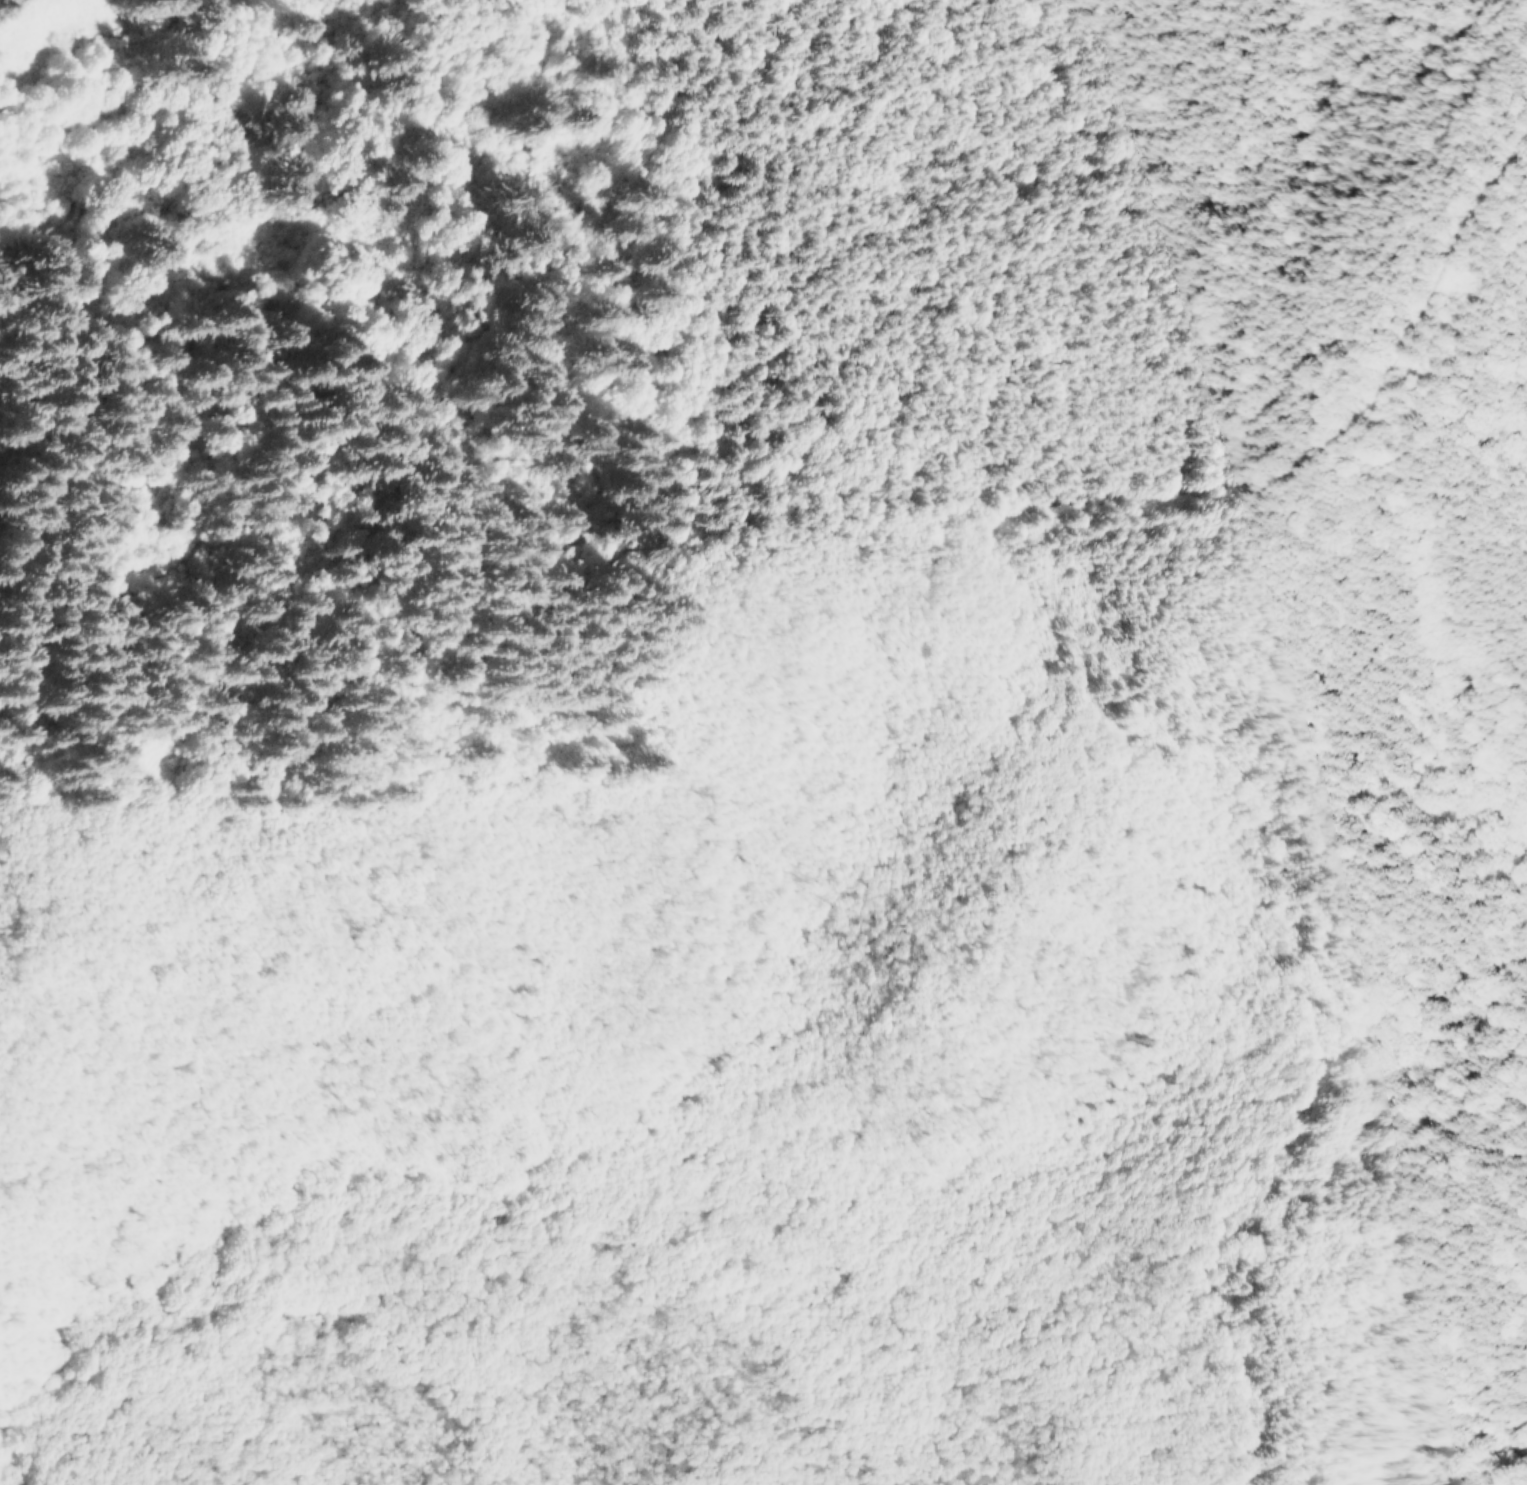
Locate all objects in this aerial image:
road: (370, 288)
road: (1027, 666)

